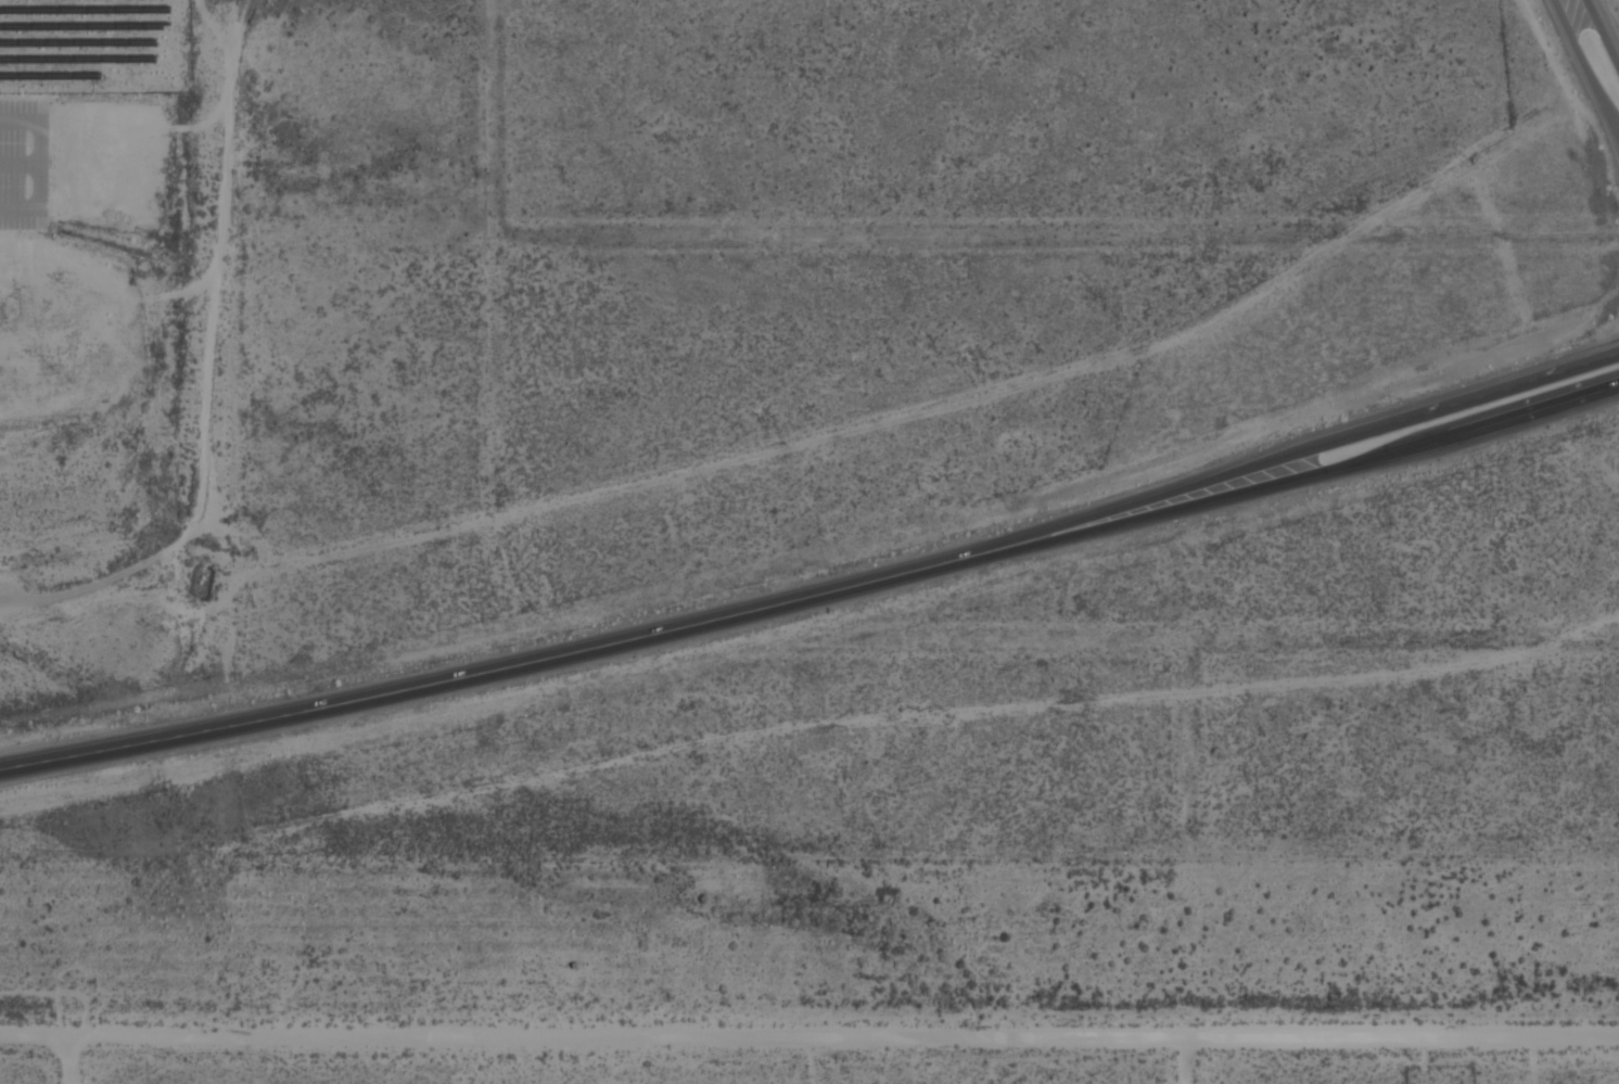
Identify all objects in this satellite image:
road: (1606, 27)
solar farm: (75, 36)
road: (1584, 73)
road: (18, 120)
road: (18, 163)
parking lot: (23, 163)
road: (37, 164)
road: (18, 206)
road: (1308, 448)
road: (1311, 477)
road: (498, 660)
road: (808, 1038)
road: (72, 1060)
road: (1182, 1061)

